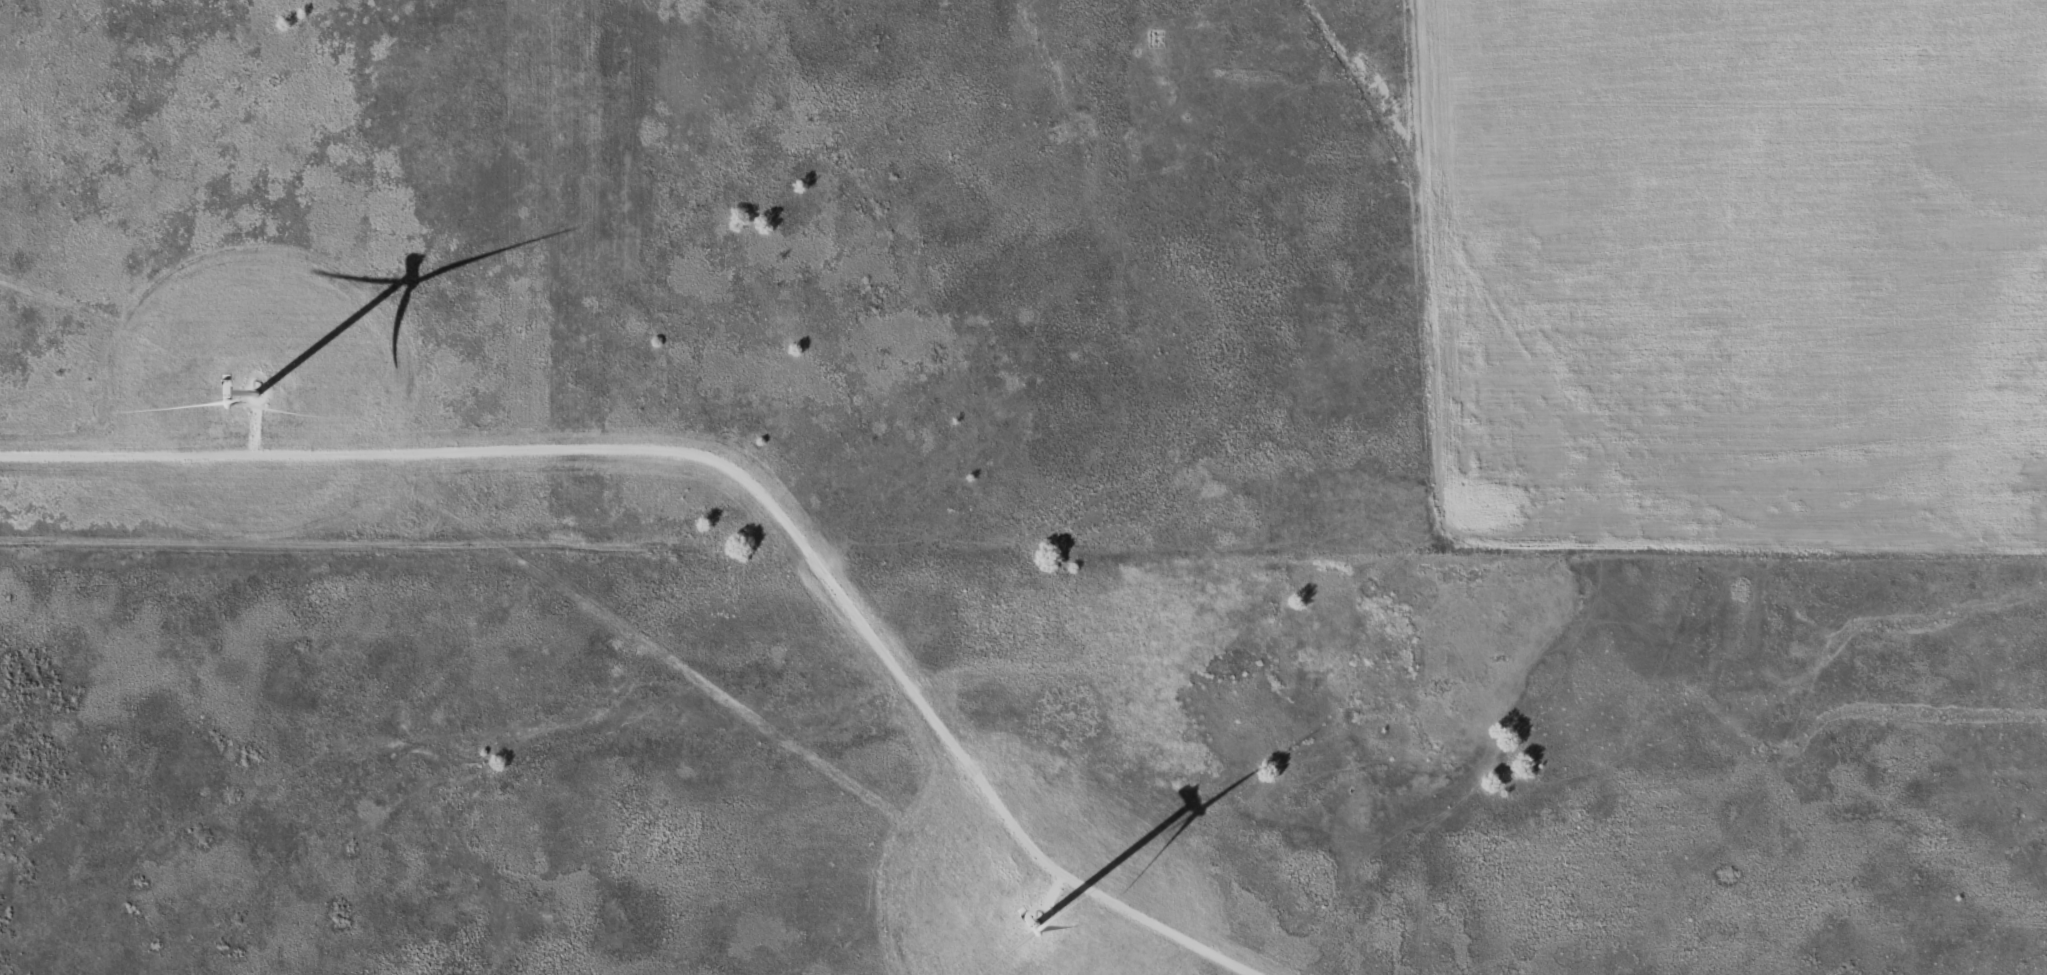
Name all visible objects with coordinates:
wind turbine: (252, 392)
road: (680, 543)
wind turbine: (1033, 915)

